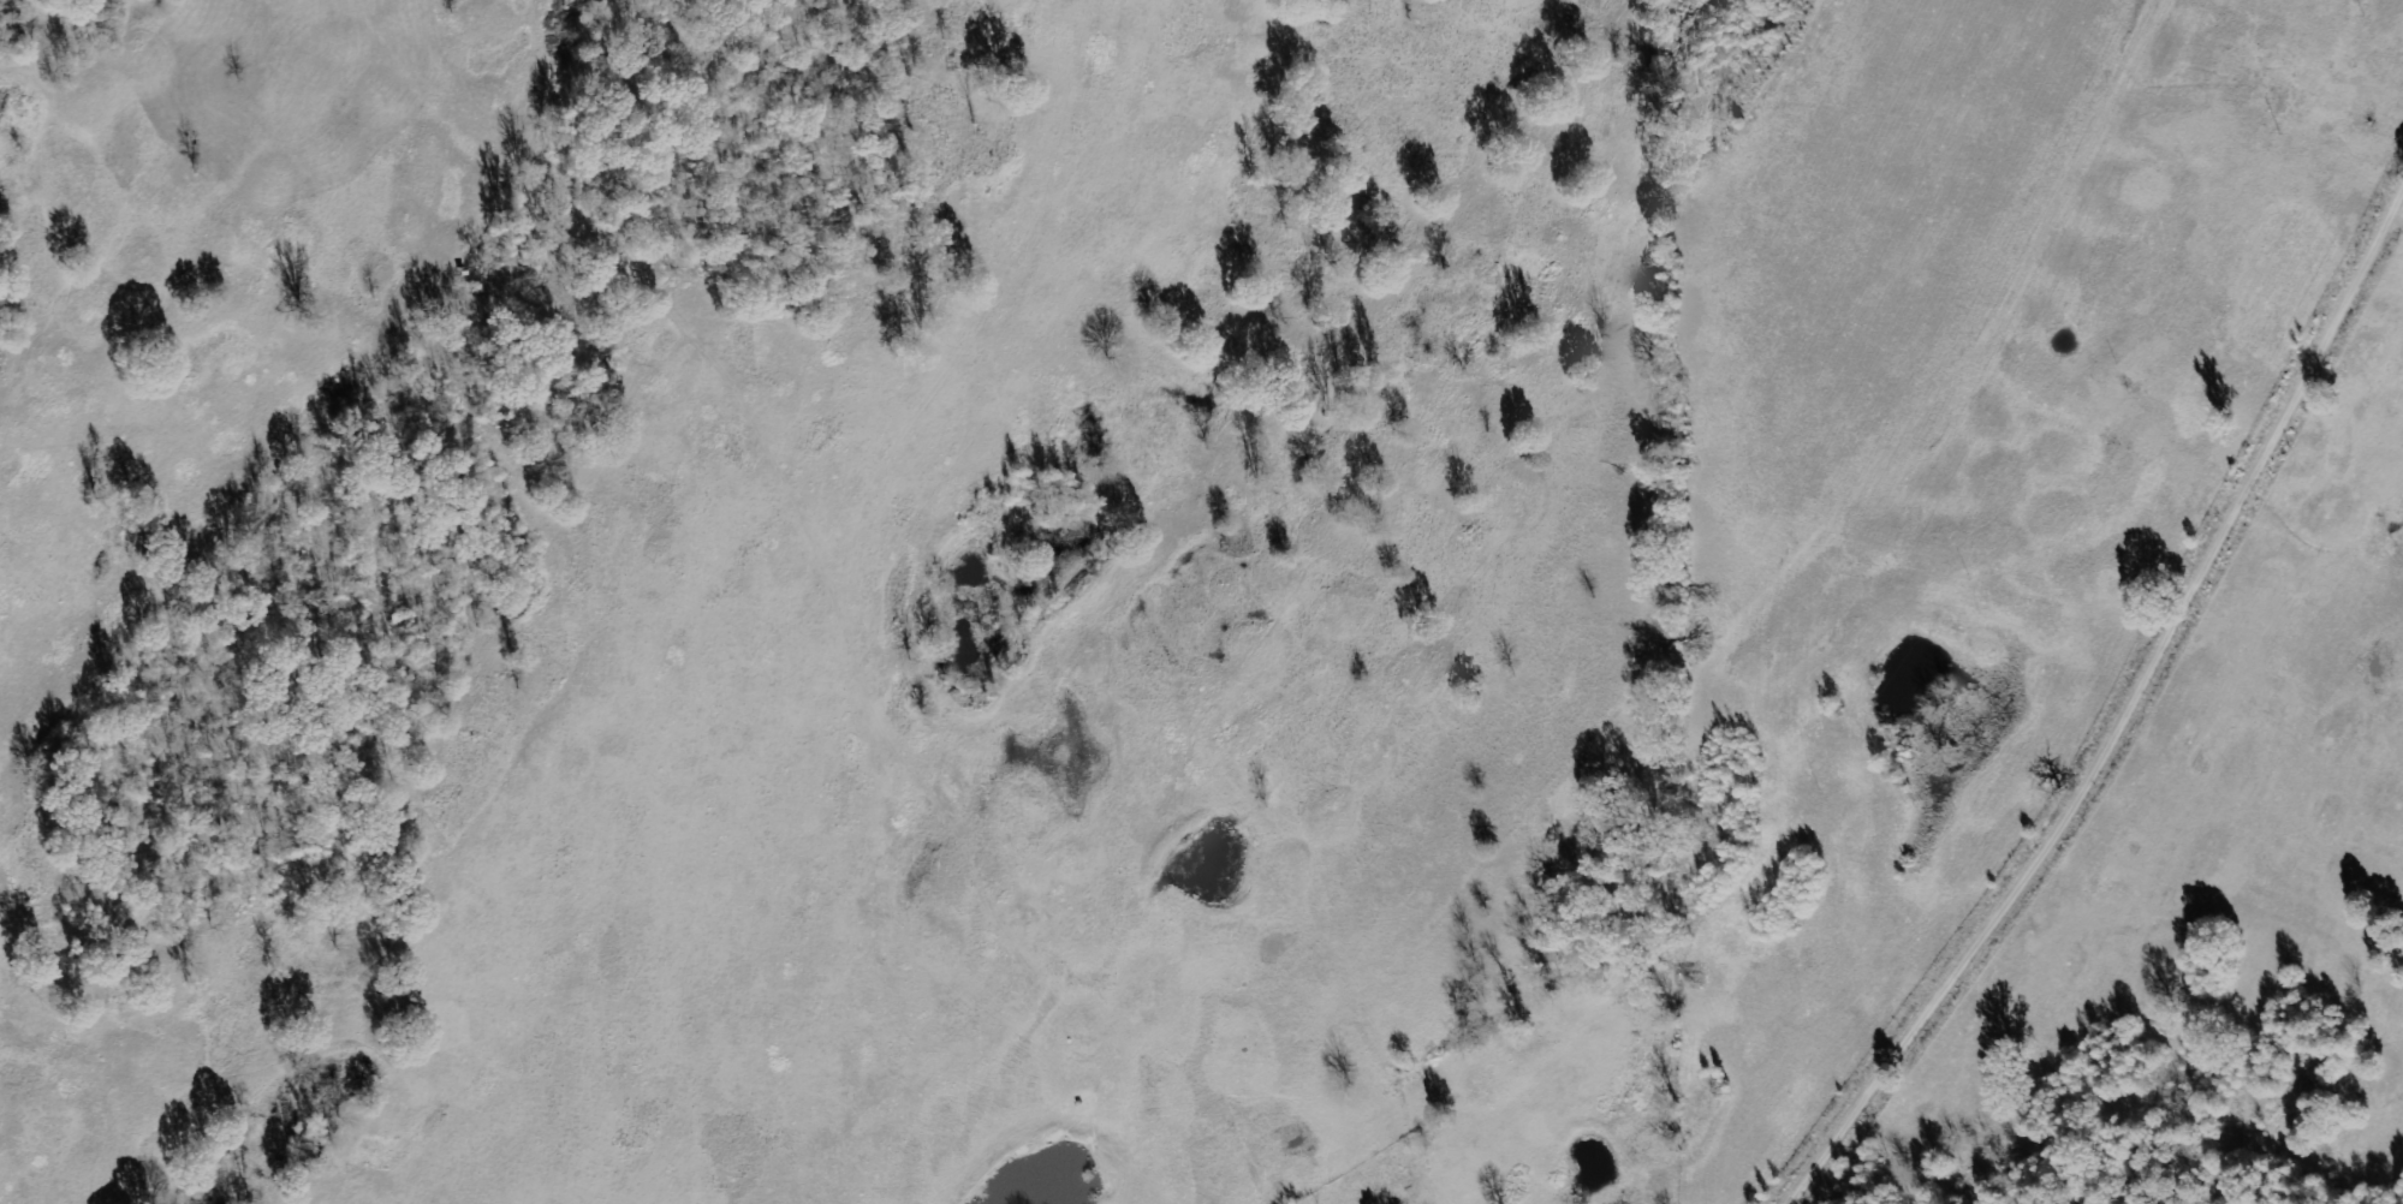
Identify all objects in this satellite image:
road: (2129, 719)

